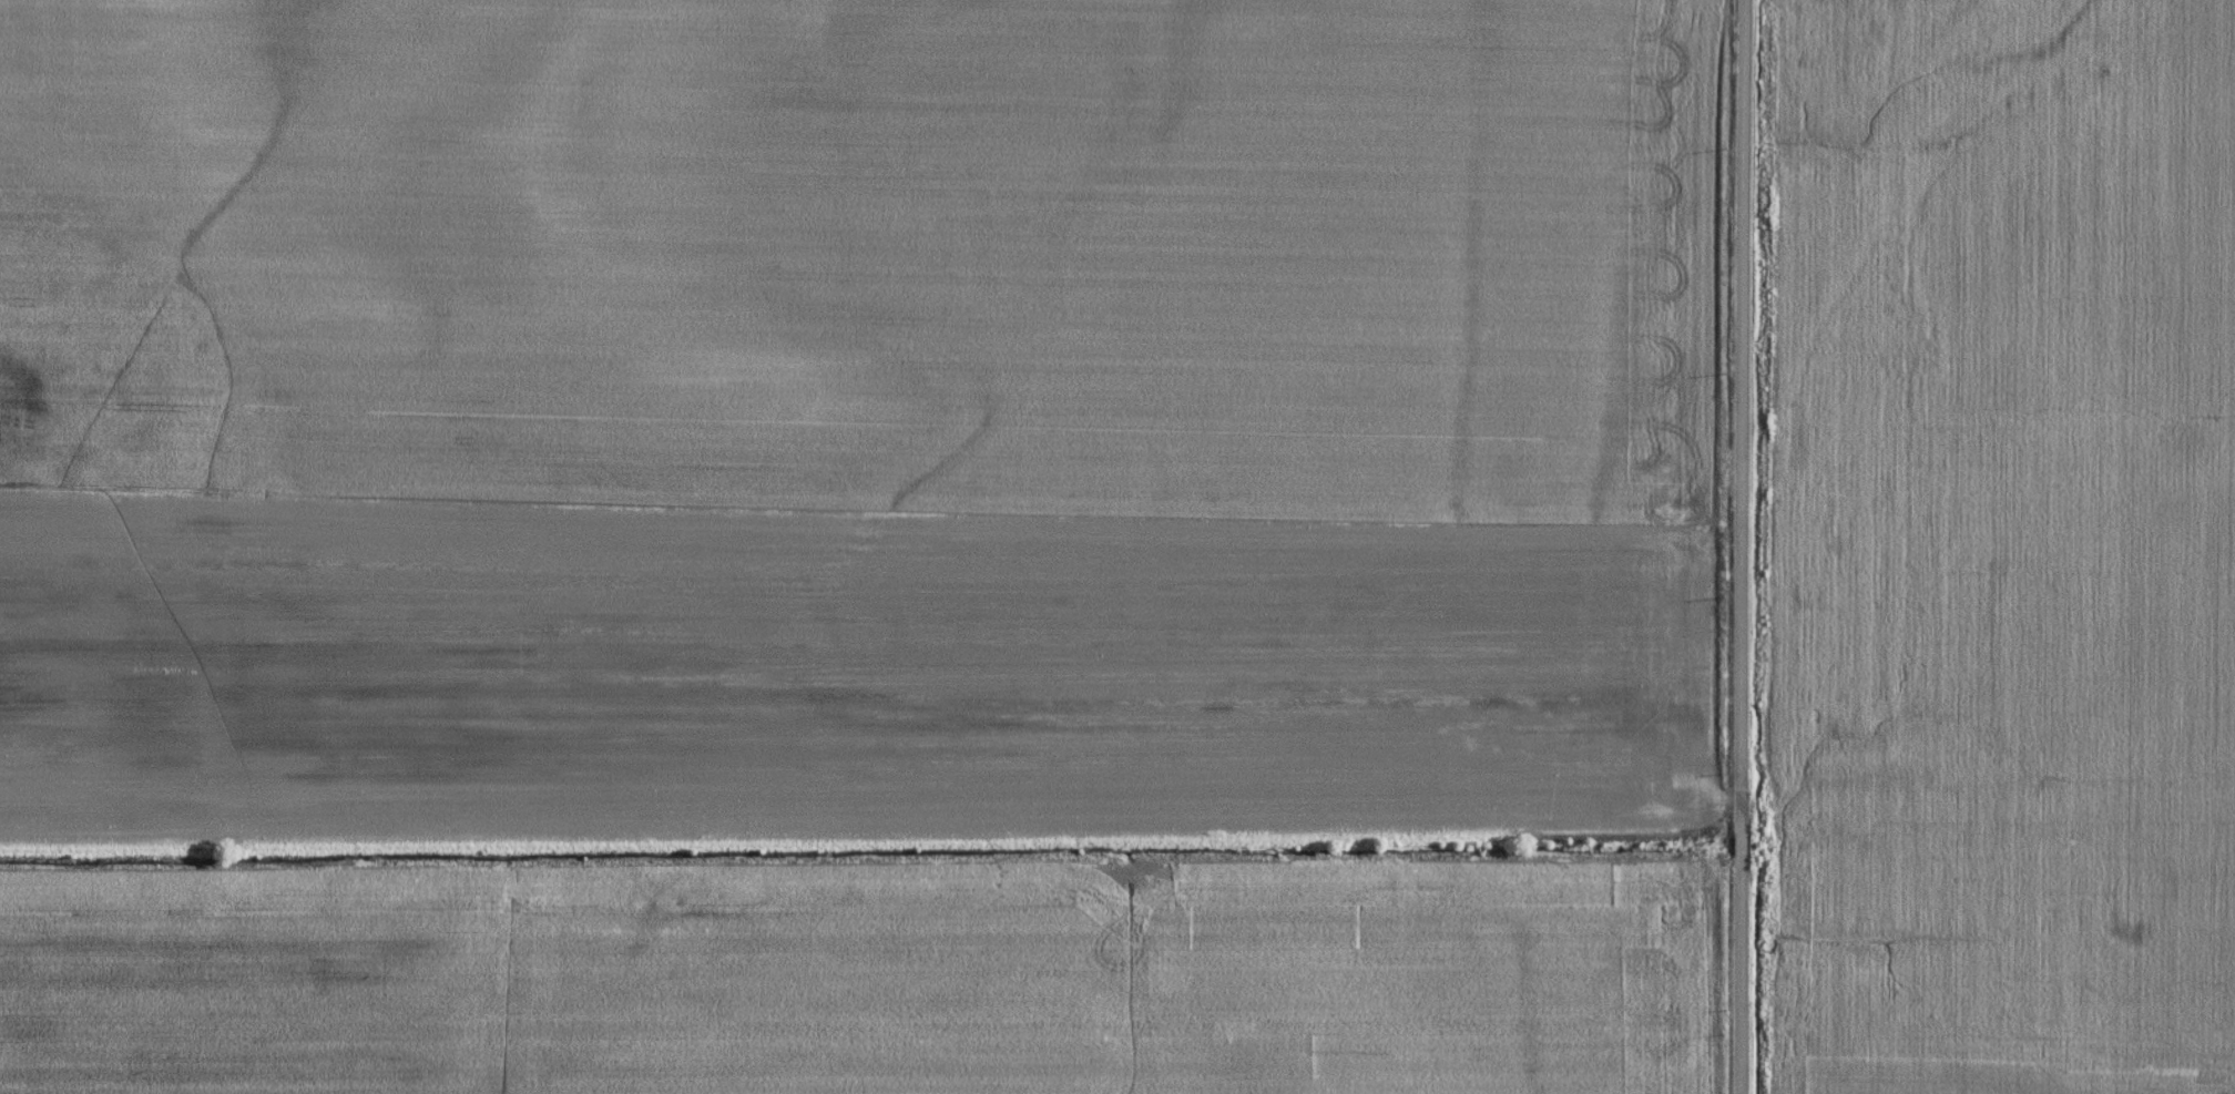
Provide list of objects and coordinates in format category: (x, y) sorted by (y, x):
road: (1737, 546)

